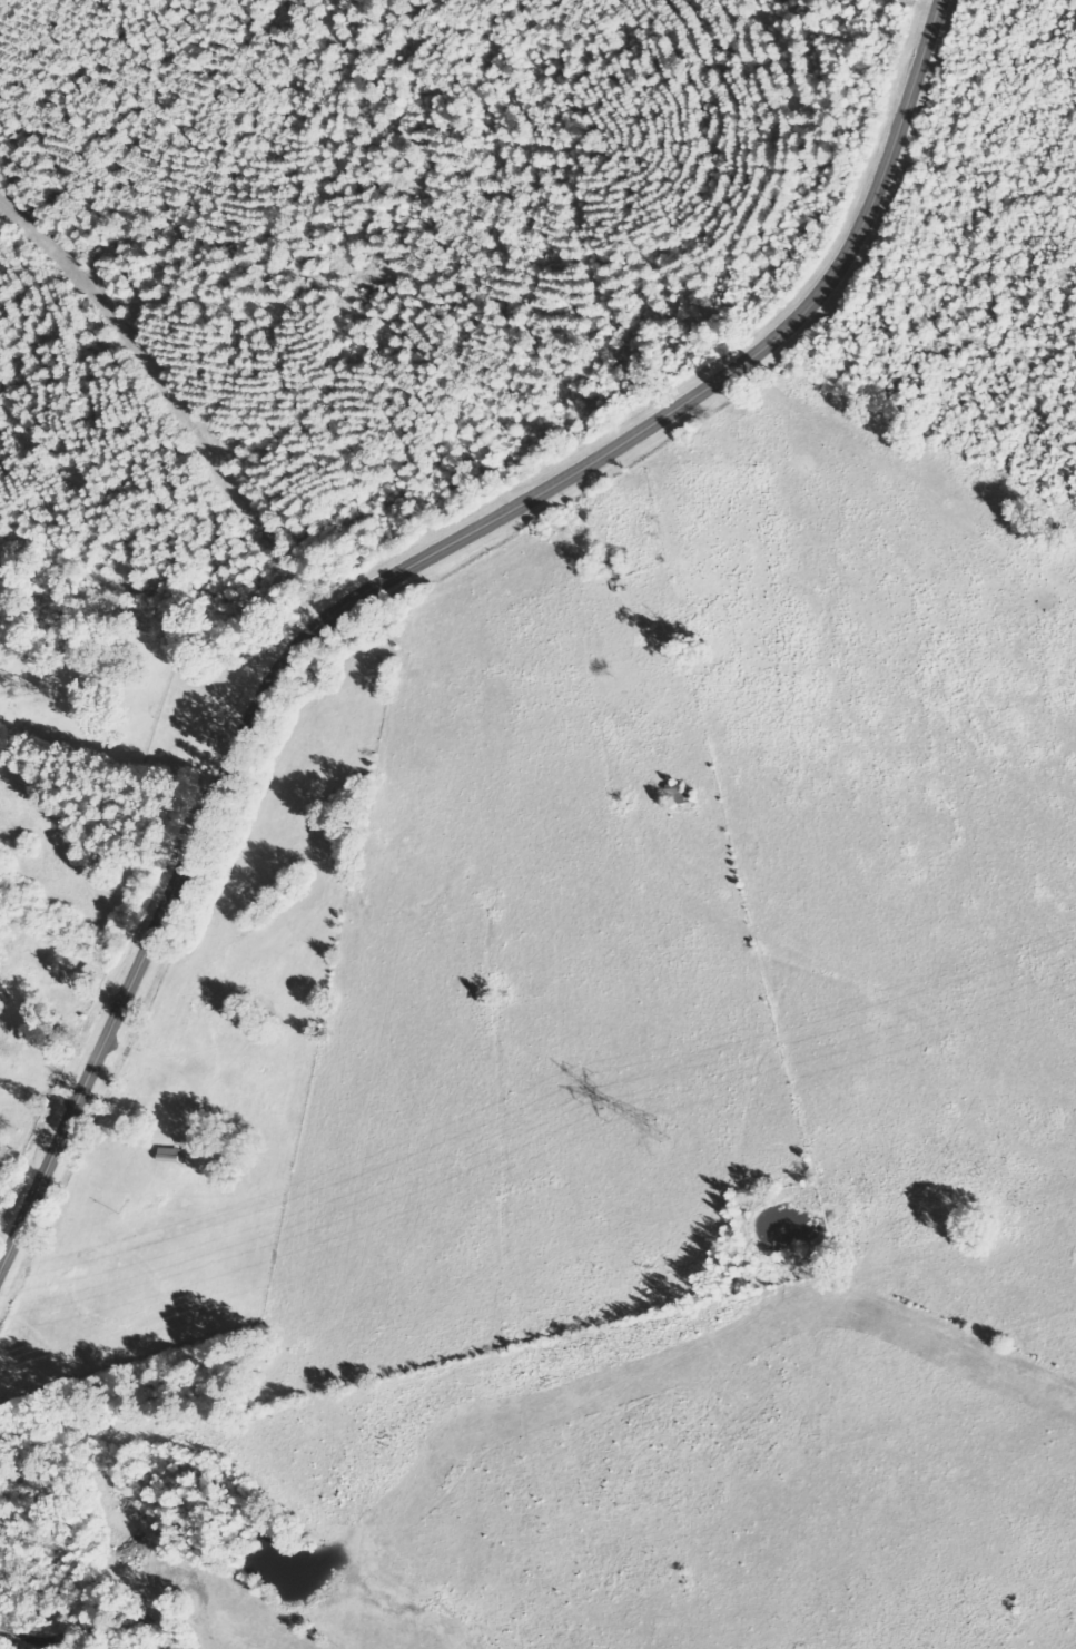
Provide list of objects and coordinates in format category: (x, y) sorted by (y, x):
road: (402, 572)
park: (88, 688)
power tower: (665, 1132)

